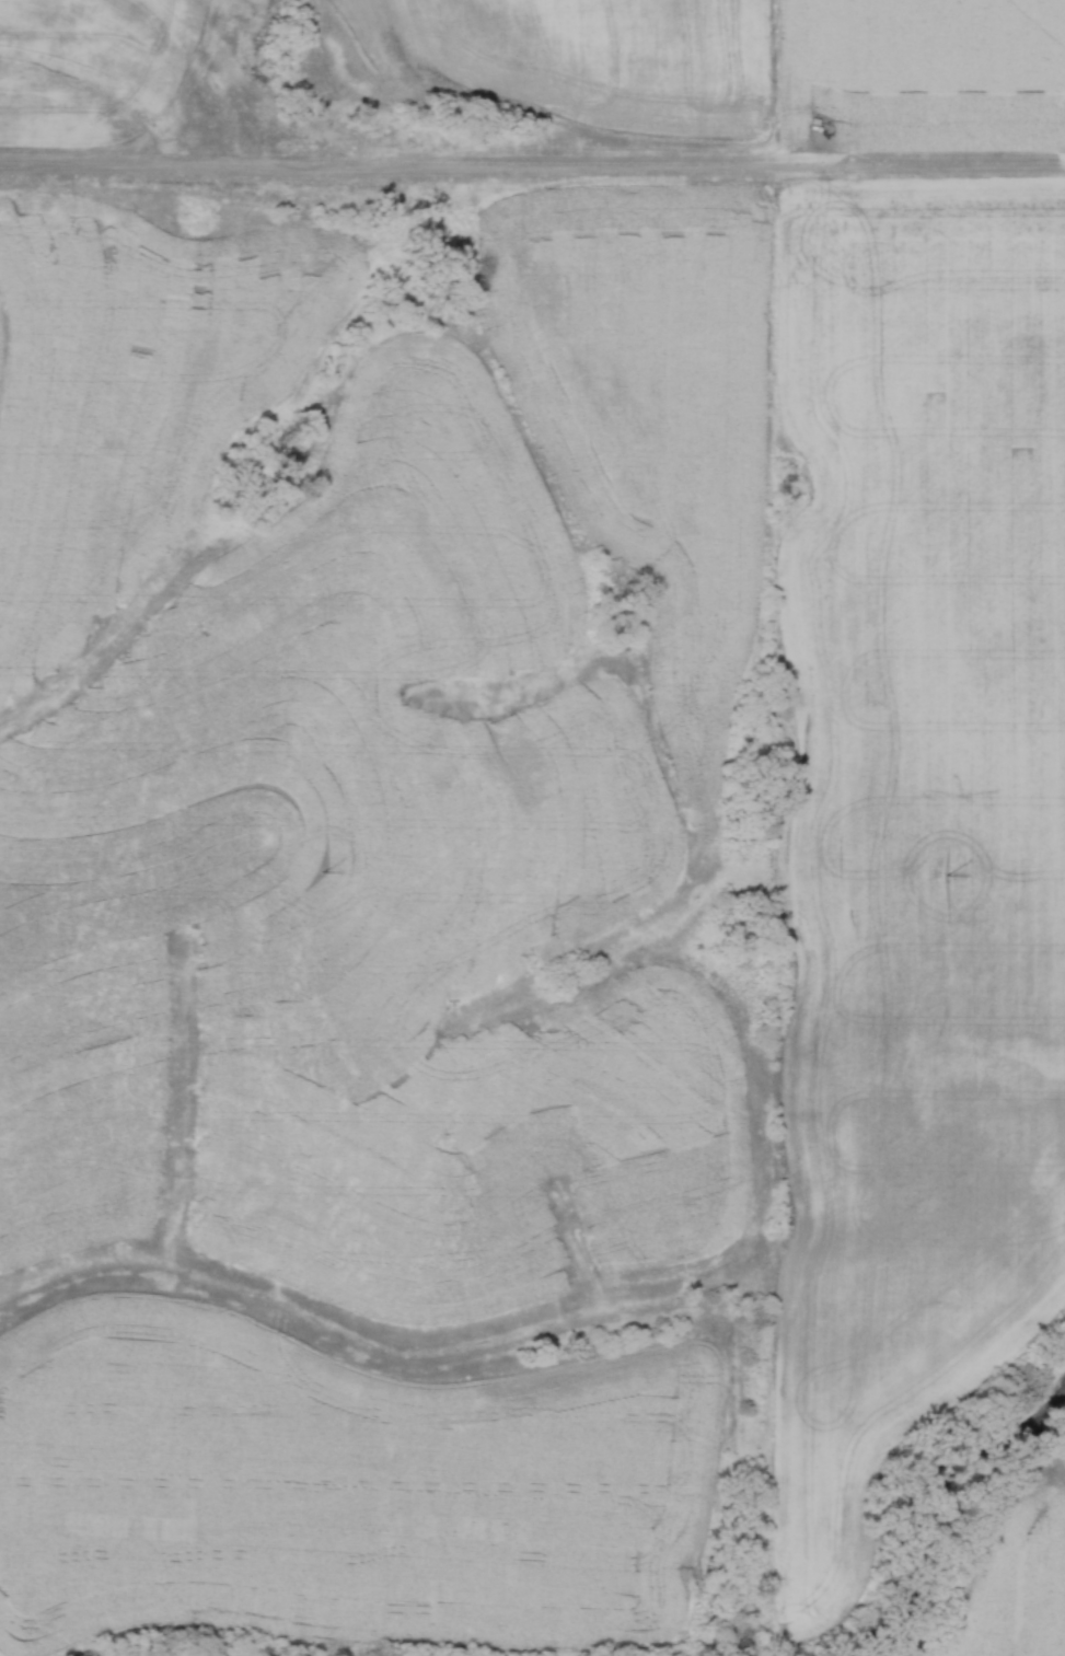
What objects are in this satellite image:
crop: (925, 57)
crop: (931, 798)

